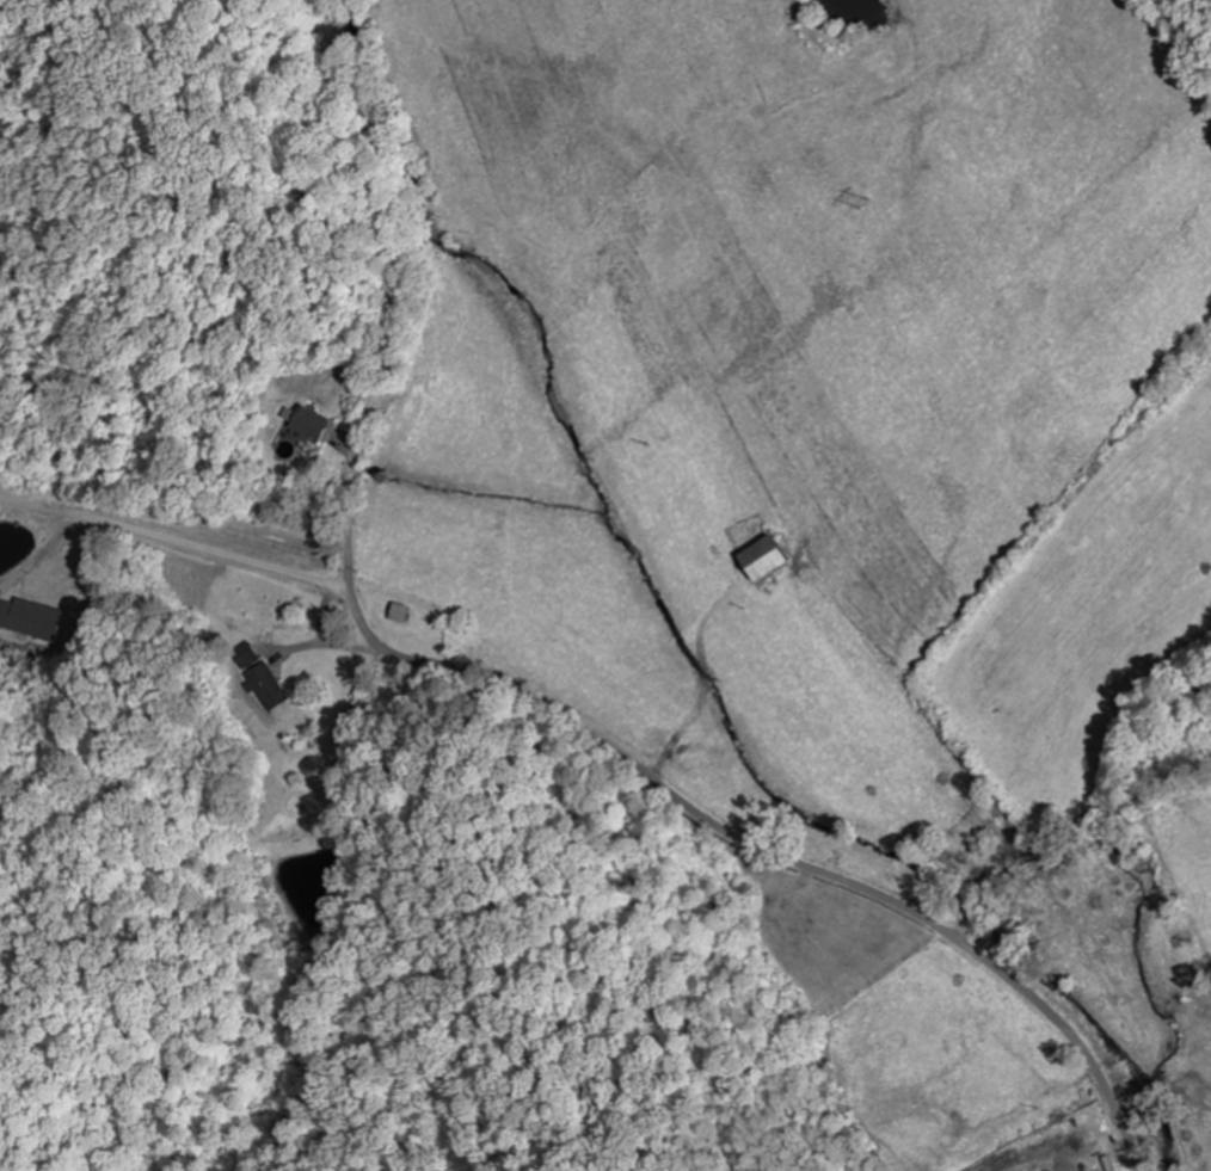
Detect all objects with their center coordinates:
building: (326, 421)
building: (755, 559)
road: (271, 568)
building: (411, 612)
building: (268, 677)
road: (517, 684)

